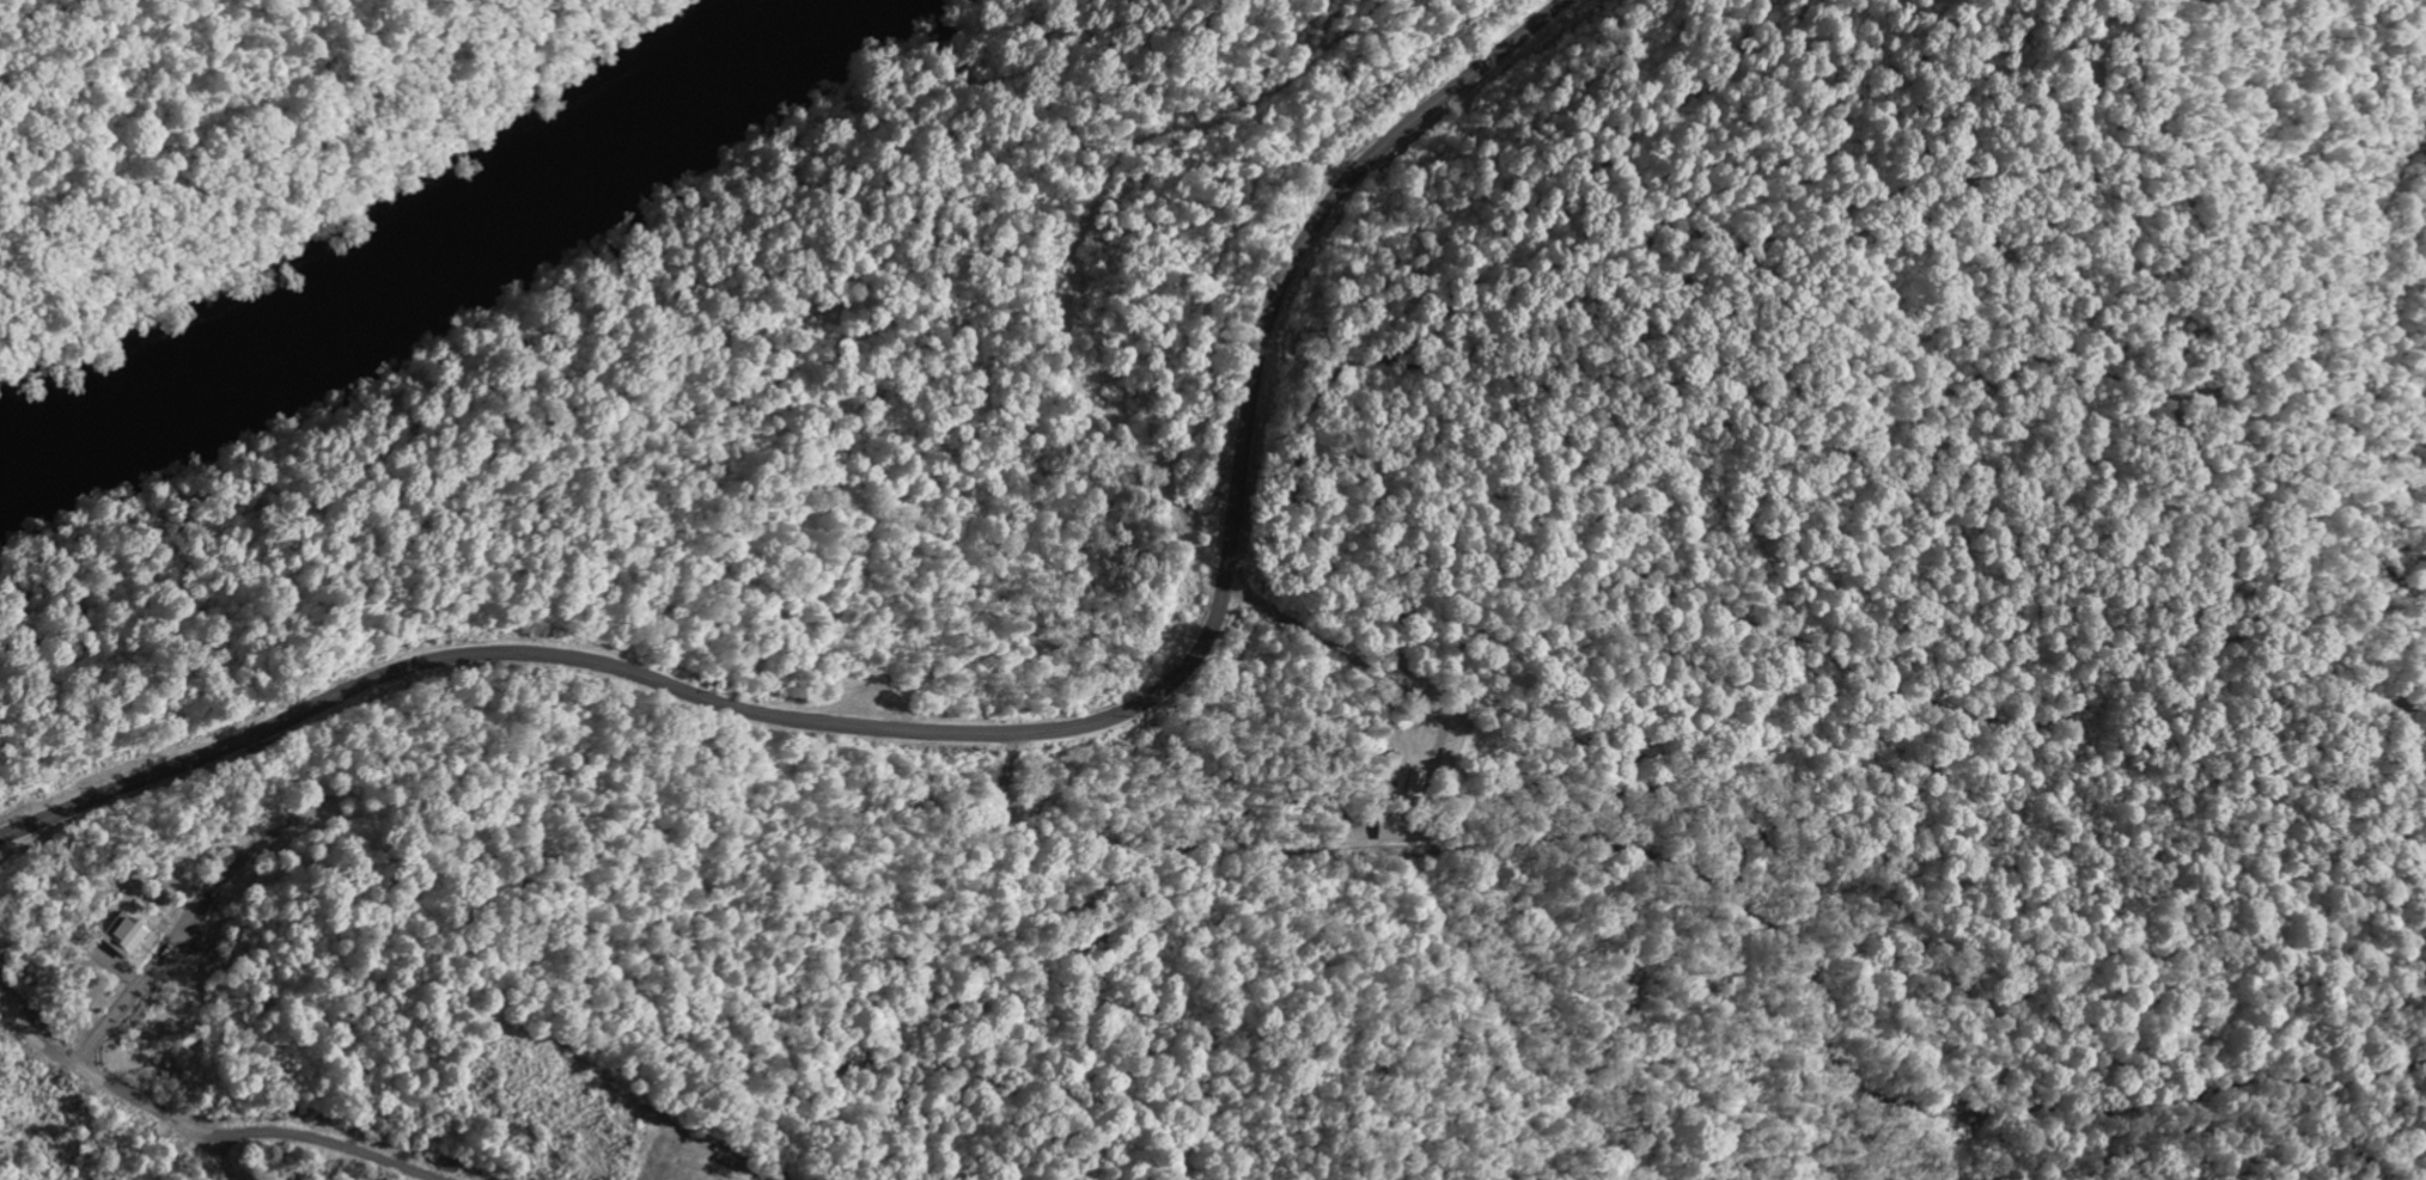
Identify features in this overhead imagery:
river: (429, 259)
road: (974, 732)
building: (1392, 829)
road: (181, 923)
building: (127, 934)
road: (93, 1075)
road: (327, 1139)
road: (219, 1155)

